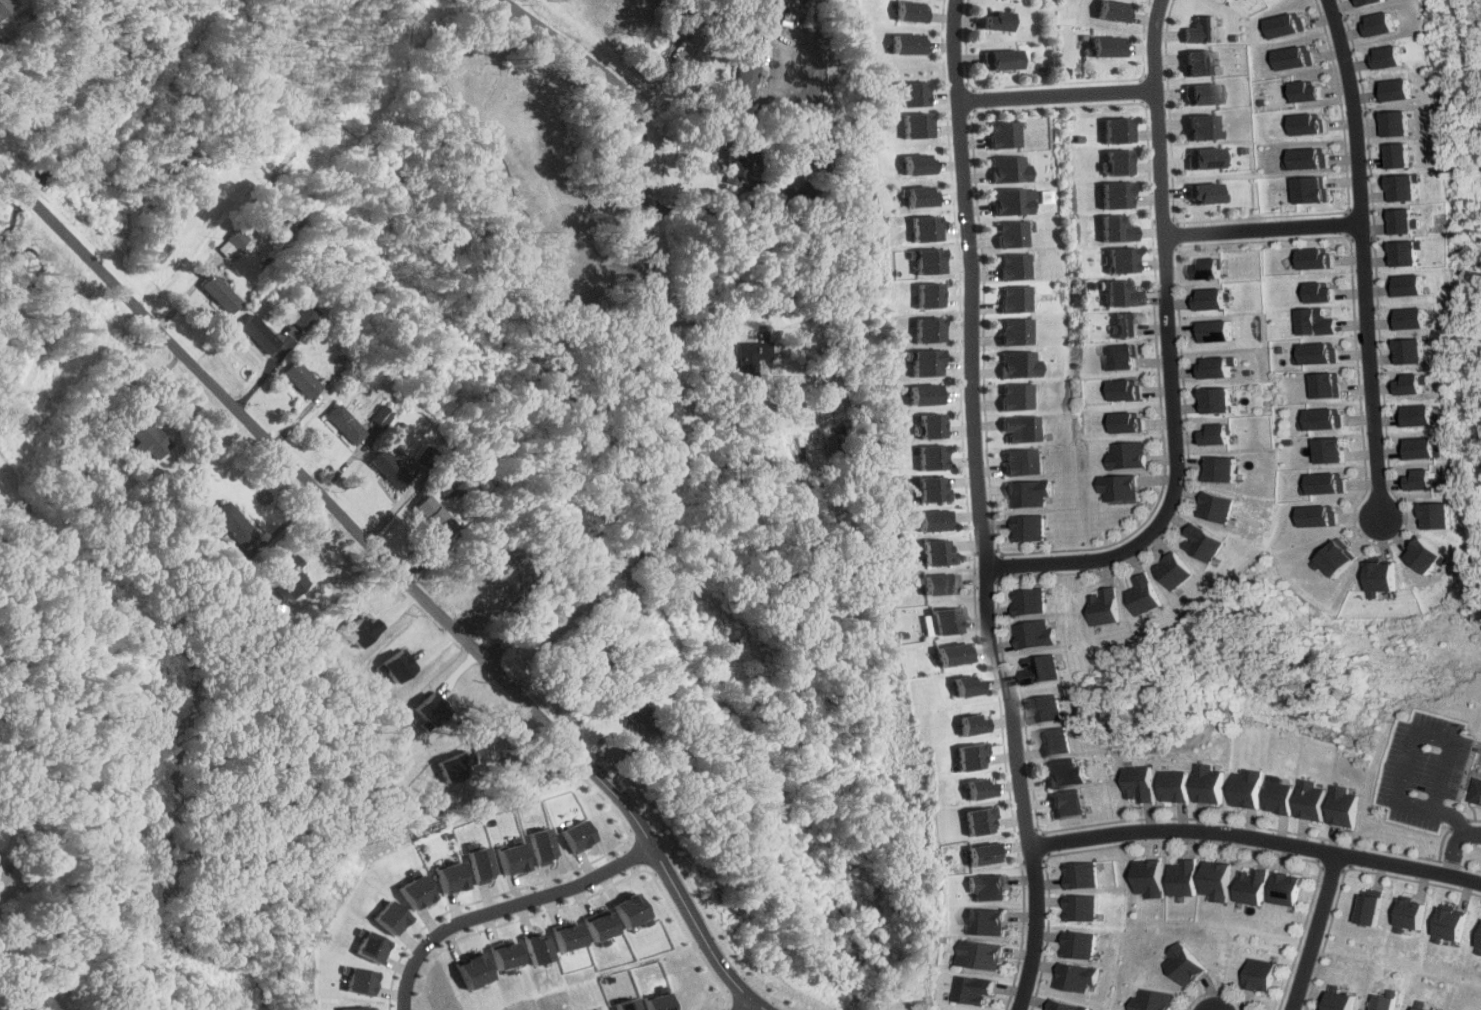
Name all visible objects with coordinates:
building: (1367, 2)
building: (5, 7)
building: (912, 10)
building: (1109, 10)
building: (999, 20)
building: (1378, 23)
building: (1285, 25)
building: (1200, 29)
road: (697, 38)
building: (908, 43)
building: (1103, 46)
building: (1292, 57)
building: (1385, 57)
building: (1003, 60)
building: (1199, 62)
building: (747, 70)
building: (1392, 90)
building: (1302, 91)
building: (909, 92)
building: (1200, 93)
road: (1054, 94)
building: (1393, 123)
building: (1305, 124)
building: (914, 125)
road: (638, 126)
building: (1202, 127)
building: (1114, 129)
building: (1005, 134)
building: (1393, 155)
building: (1204, 157)
building: (739, 158)
building: (1303, 158)
building: (1116, 162)
building: (917, 163)
building: (1009, 169)
building: (1399, 186)
building: (1307, 189)
building: (1206, 193)
building: (1114, 194)
building: (917, 195)
building: (1011, 202)
road: (737, 205)
building: (1399, 220)
building: (921, 228)
building: (1114, 228)
road: (1259, 231)
building: (1010, 233)
building: (236, 238)
building: (1404, 252)
building: (1311, 258)
building: (921, 259)
building: (1119, 259)
road: (1358, 260)
building: (1012, 265)
building: (1209, 269)
building: (1405, 285)
building: (1317, 292)
building: (1118, 293)
building: (220, 294)
building: (926, 294)
building: (1014, 298)
building: (1210, 299)
building: (304, 316)
building: (1407, 318)
building: (1313, 321)
building: (1125, 324)
building: (927, 329)
building: (1214, 331)
building: (1016, 332)
building: (260, 334)
building: (1408, 350)
building: (1314, 353)
building: (1123, 356)
road: (1169, 357)
building: (926, 361)
building: (1020, 363)
building: (1218, 366)
building: (302, 380)
building: (1410, 384)
building: (1323, 385)
building: (1127, 389)
building: (929, 393)
building: (1019, 396)
building: (1217, 400)
building: (1415, 415)
building: (382, 416)
building: (1321, 418)
building: (1128, 422)
building: (345, 425)
building: (932, 425)
building: (1025, 428)
building: (1217, 434)
building: (149, 440)
building: (1417, 448)
building: (1326, 450)
building: (1126, 456)
building: (934, 457)
building: (1023, 462)
building: (390, 469)
building: (1221, 469)
building: (1417, 479)
building: (1321, 483)
building: (934, 489)
building: (1117, 489)
building: (1029, 494)
road: (980, 507)
building: (1213, 508)
building: (434, 515)
building: (1314, 515)
building: (1431, 515)
building: (936, 520)
building: (234, 524)
building: (1029, 529)
building: (1200, 544)
building: (938, 552)
building: (1419, 556)
building: (1329, 558)
building: (1173, 572)
building: (290, 576)
building: (1374, 579)
road: (402, 580)
building: (940, 583)
building: (1144, 595)
building: (1033, 602)
building: (1106, 607)
building: (939, 620)
building: (1041, 635)
building: (948, 653)
building: (1046, 669)
building: (958, 685)
building: (1050, 709)
building: (429, 710)
building: (635, 712)
building: (964, 724)
building: (1056, 742)
road: (1404, 752)
building: (966, 755)
building: (454, 765)
building: (1065, 773)
building: (1139, 783)
building: (1206, 783)
building: (1172, 786)
building: (976, 788)
building: (1245, 789)
building: (1475, 791)
building: (1277, 795)
building: (1307, 800)
building: (1068, 803)
building: (1340, 806)
building: (977, 819)
building: (580, 835)
road: (1255, 840)
road: (1451, 843)
building: (544, 845)
building: (983, 853)
building: (515, 856)
building: (483, 864)
building: (7, 868)
building: (1079, 874)
building: (454, 876)
building: (1179, 877)
building: (1147, 878)
building: (1213, 881)
building: (1246, 885)
building: (986, 886)
building: (1280, 888)
road: (5, 890)
building: (420, 892)
building: (1078, 906)
road: (508, 907)
building: (1362, 907)
building: (631, 910)
building: (1404, 915)
building: (394, 916)
building: (985, 921)
building: (600, 926)
building: (1446, 926)
road: (1306, 932)
building: (569, 936)
building: (1076, 944)
building: (1478, 945)
building: (374, 946)
building: (539, 947)
building: (984, 954)
building: (509, 956)
building: (1183, 964)
building: (476, 969)
building: (1257, 974)
building: (1076, 976)
building: (361, 980)
building: (978, 989)
building: (1334, 999)
building: (1154, 1000)
building: (41, 1002)
building: (656, 1002)
building: (1379, 1002)
building: (624, 1004)
road: (744, 1004)
building: (1066, 1005)
building: (357, 1008)
building: (1417, 1008)

